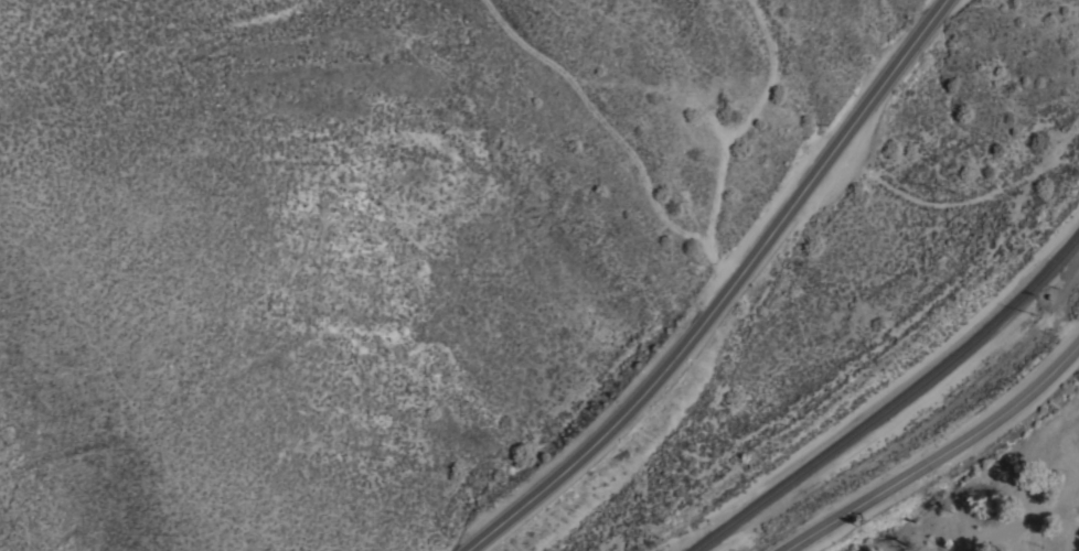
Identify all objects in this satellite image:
road: (724, 294)
railway: (894, 402)
road: (940, 454)
road: (1027, 526)

